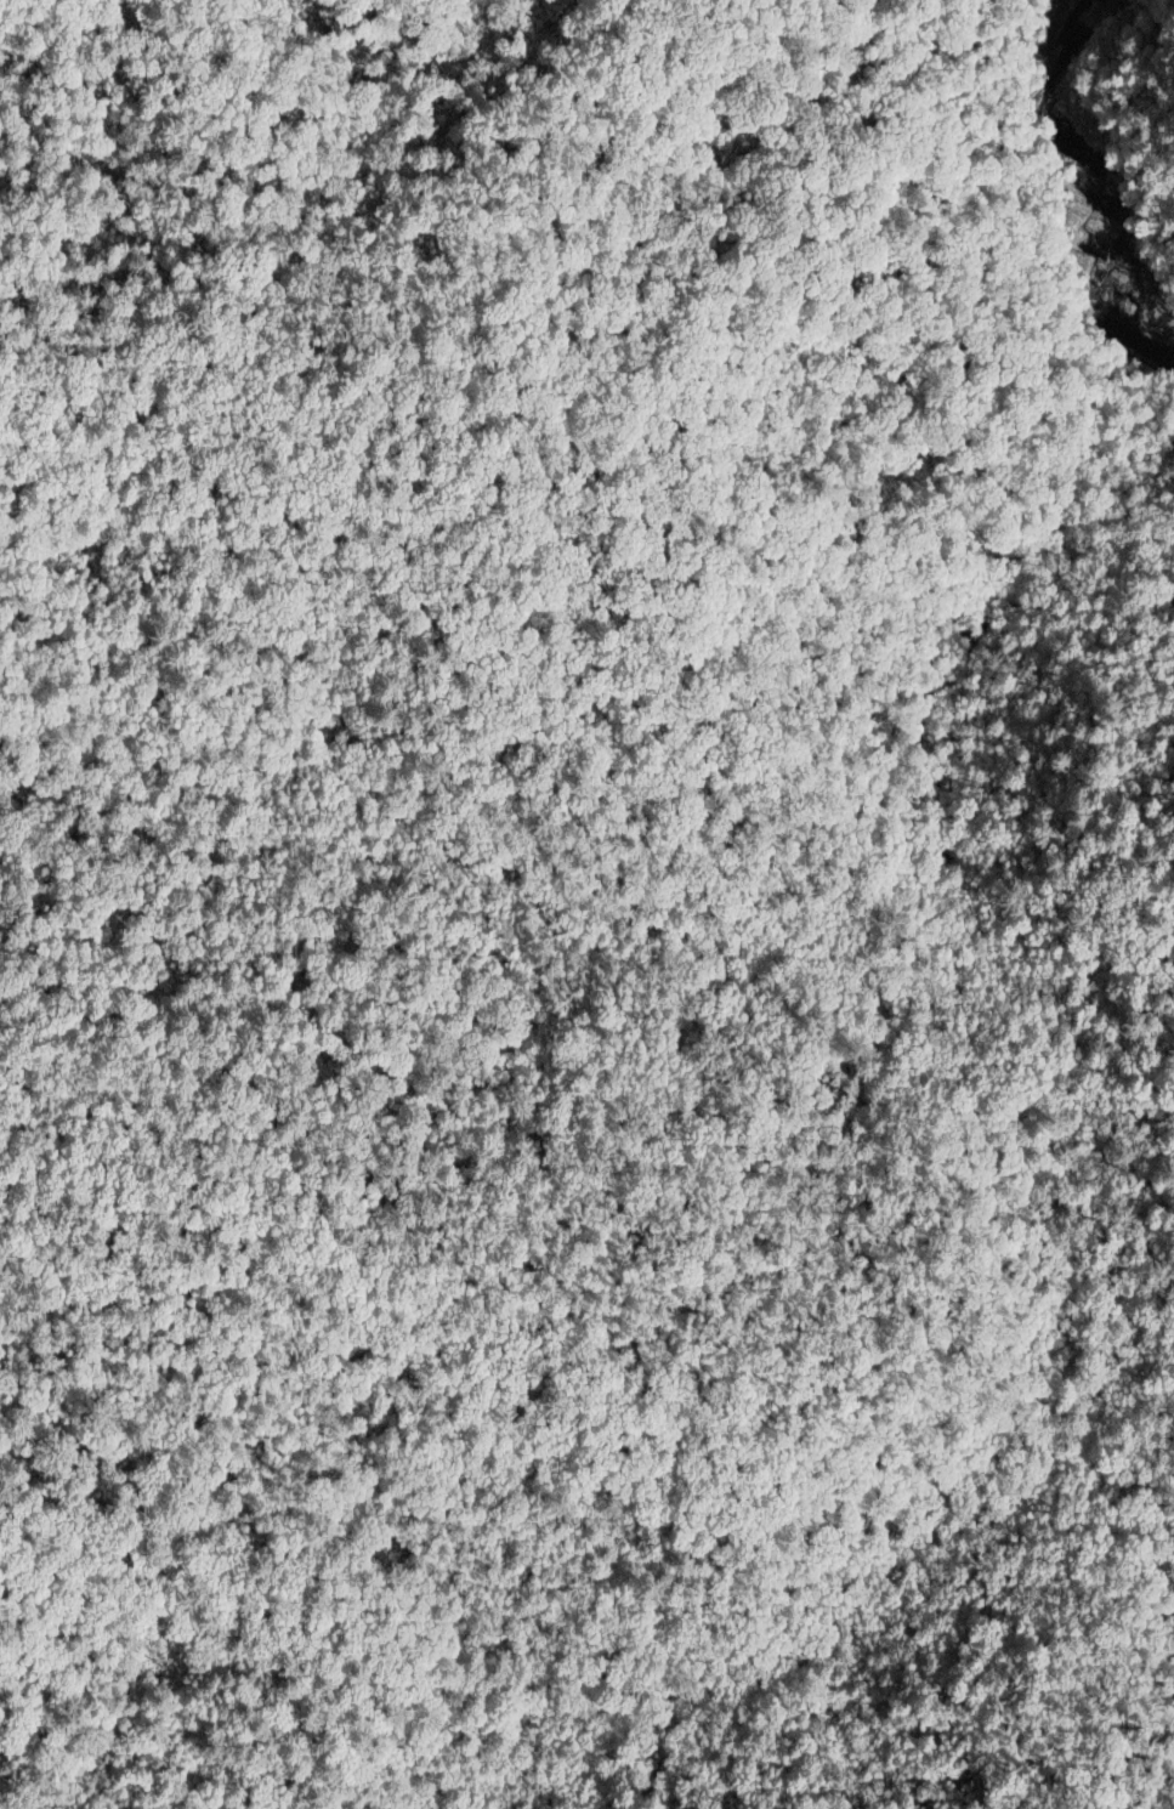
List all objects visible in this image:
river: (1091, 181)

